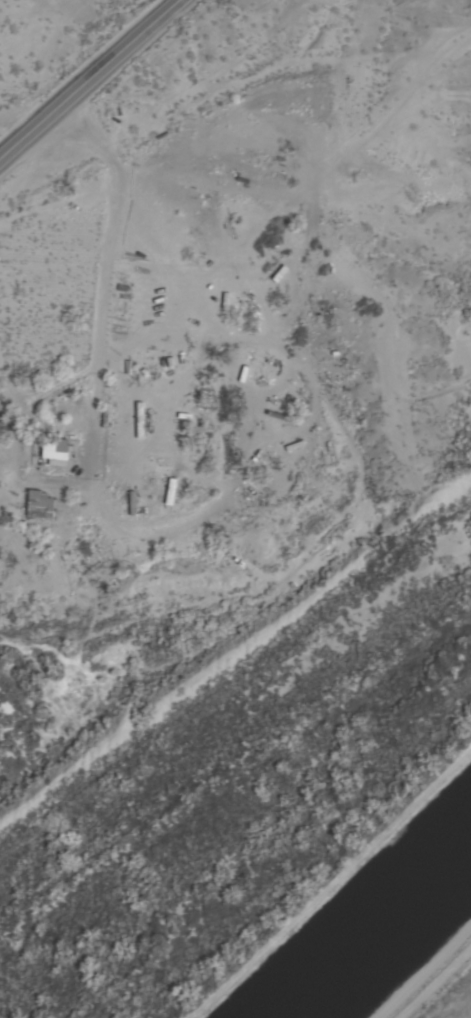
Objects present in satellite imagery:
road: (93, 82)
road: (100, 274)

